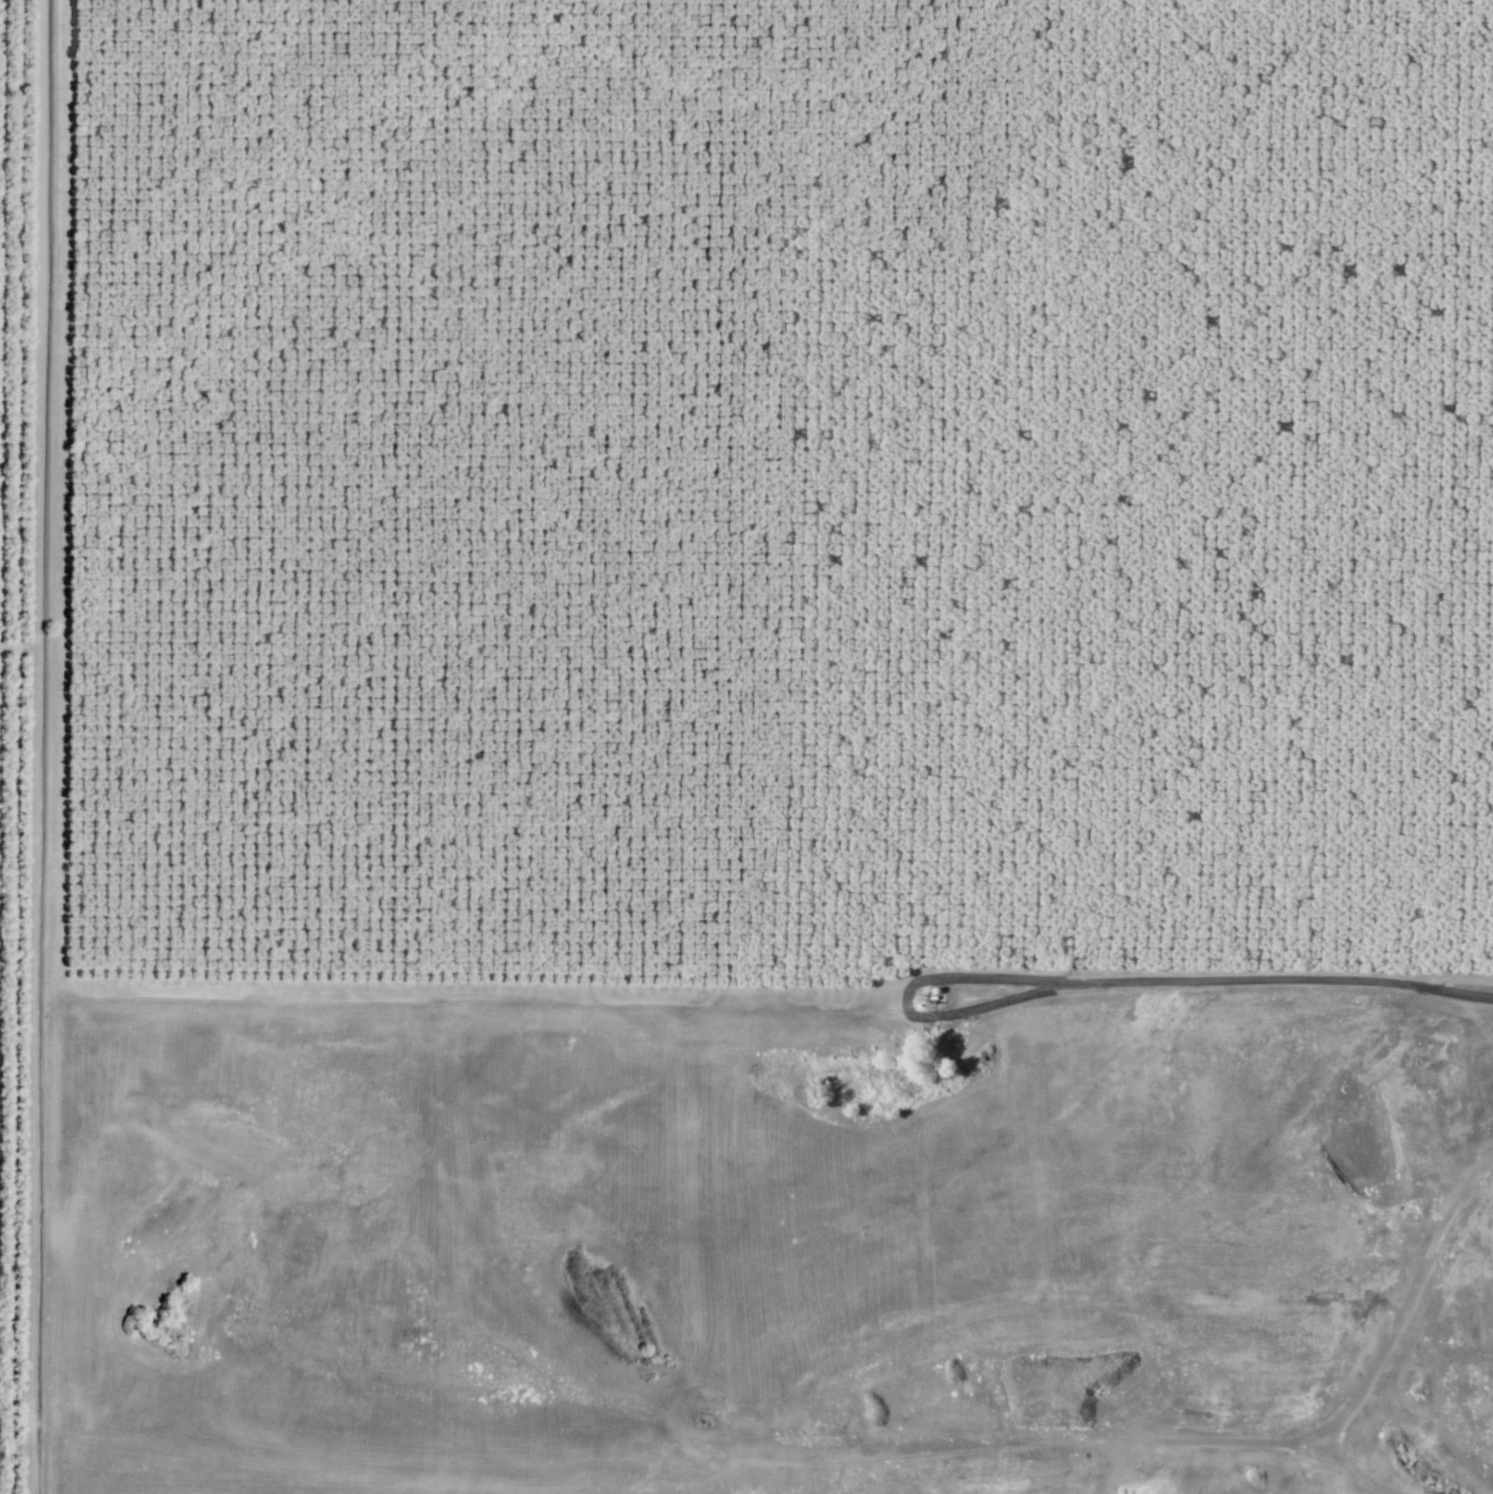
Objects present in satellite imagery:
road: (19, 645)
road: (37, 747)
road: (1462, 984)
road: (290, 996)
road: (974, 1009)
road: (1031, 1288)
road: (1150, 1442)
road: (15, 1446)
road: (1347, 1466)
road: (1300, 1475)

